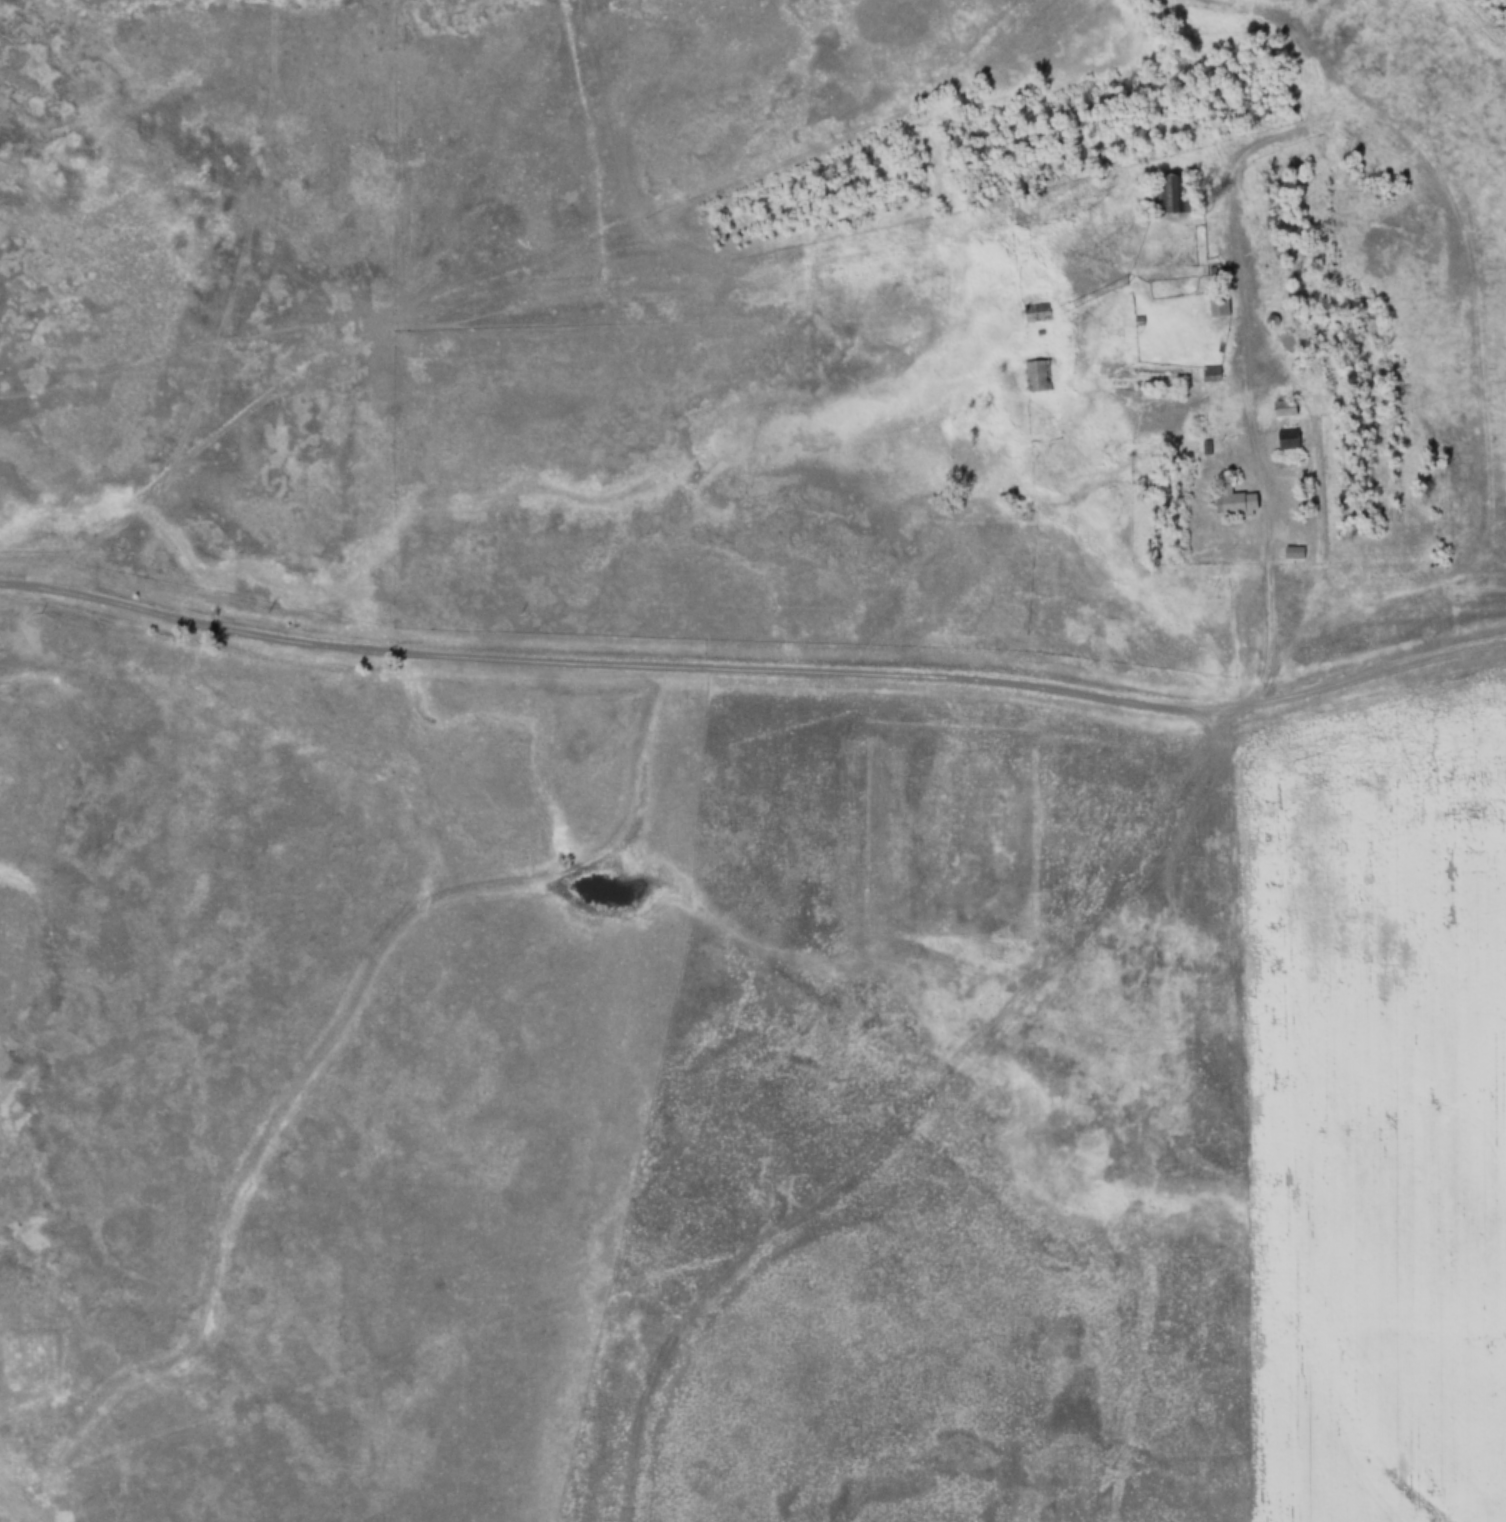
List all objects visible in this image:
building: (1166, 197)
building: (1215, 309)
building: (1029, 312)
building: (1267, 322)
silo: (1267, 322)
building: (1134, 323)
building: (1282, 344)
silo: (1282, 344)
building: (1292, 369)
silo: (1292, 369)
building: (1205, 376)
building: (1046, 377)
building: (1031, 379)
building: (1279, 410)
building: (1283, 441)
building: (1200, 449)
building: (1230, 503)
building: (1287, 555)
road: (1272, 595)
road: (754, 674)

